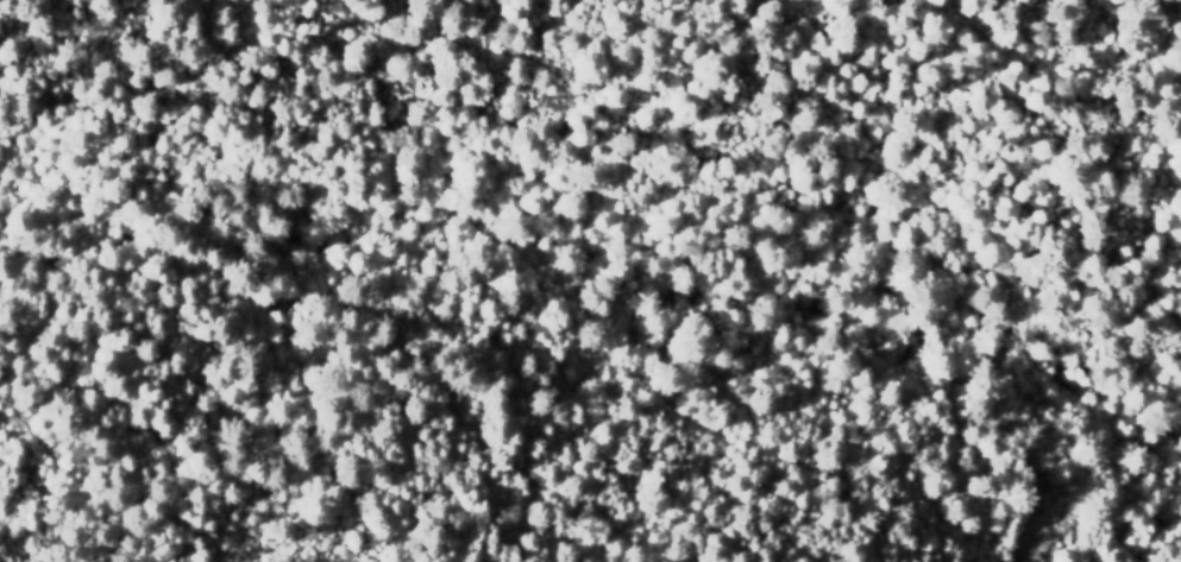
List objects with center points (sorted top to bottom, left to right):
road: (664, 286)

